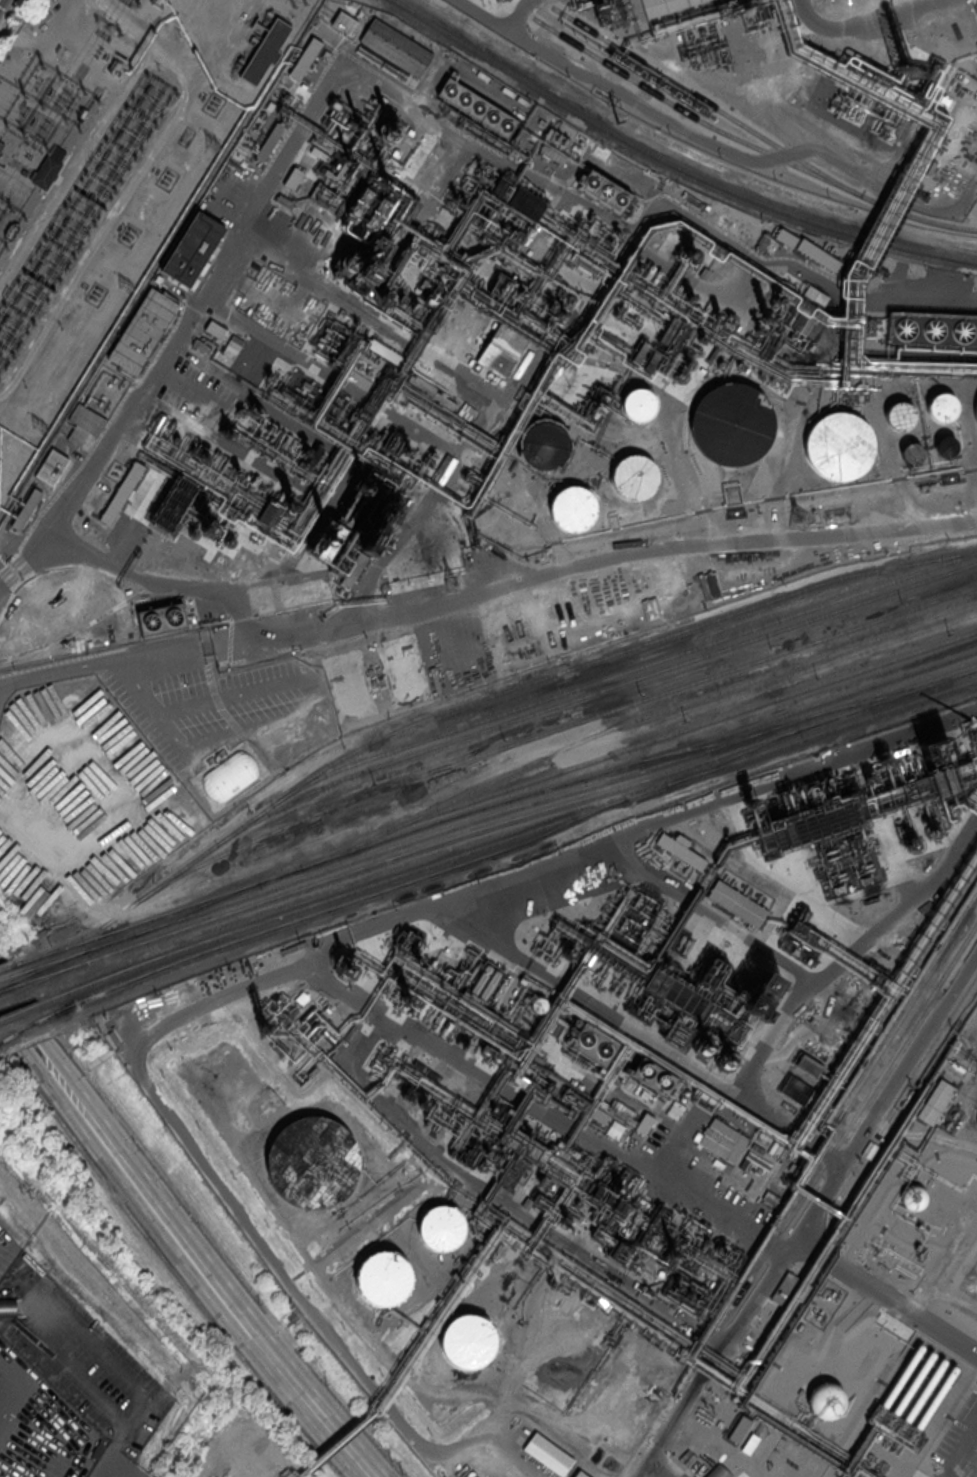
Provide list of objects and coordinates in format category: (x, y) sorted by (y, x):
power tower: (300, 6)
building: (666, 6)
building: (344, 22)
building: (395, 48)
building: (265, 51)
building: (305, 59)
railway: (705, 101)
building: (475, 107)
power tower: (622, 123)
building: (270, 141)
building: (556, 142)
railway: (747, 142)
power tower: (212, 146)
railway: (670, 164)
building: (46, 171)
power substation: (106, 171)
building: (294, 176)
building: (604, 189)
building: (516, 198)
building: (276, 220)
building: (735, 225)
building: (785, 237)
building: (761, 243)
building: (193, 248)
building: (2, 254)
building: (817, 255)
power tower: (125, 285)
building: (141, 329)
building: (932, 329)
building: (501, 351)
building: (98, 401)
building: (638, 404)
storage tank: (638, 404)
building: (940, 408)
storage tank: (940, 408)
building: (899, 415)
storage tank: (899, 415)
building: (733, 422)
storage tank: (733, 422)
power tower: (39, 428)
building: (839, 443)
storage tank: (839, 443)
building: (545, 445)
storage tank: (545, 445)
building: (945, 445)
storage tank: (945, 445)
building: (910, 453)
storage tank: (910, 453)
building: (53, 466)
building: (634, 476)
storage tank: (634, 476)
building: (121, 492)
building: (26, 508)
building: (573, 509)
storage tank: (573, 509)
building: (168, 513)
power tower: (797, 518)
building: (327, 540)
road: (40, 554)
power tower: (453, 584)
building: (162, 618)
road: (118, 672)
railway: (621, 672)
railway: (592, 692)
railway: (486, 696)
railway: (632, 720)
railway: (681, 728)
railway: (552, 729)
building: (934, 749)
railway: (732, 757)
railway: (512, 798)
railway: (859, 801)
railway: (514, 807)
railway: (516, 817)
road: (104, 828)
railway: (523, 833)
building: (681, 849)
building: (737, 904)
railway: (344, 905)
railway: (75, 955)
railway: (40, 956)
railway: (24, 962)
railway: (27, 971)
railway: (27, 975)
railway: (28, 983)
building: (490, 986)
road: (30, 997)
railway: (46, 1000)
building: (538, 1004)
storage tank: (538, 1004)
railway: (905, 1010)
railway: (10, 1015)
building: (527, 1021)
storage tank: (527, 1021)
railway: (40, 1022)
building: (595, 1043)
building: (808, 1064)
building: (653, 1077)
road: (62, 1083)
building: (796, 1089)
building: (936, 1101)
railway: (862, 1103)
building: (581, 1107)
building: (622, 1110)
building: (644, 1123)
building: (719, 1138)
building: (312, 1160)
storage tank: (312, 1160)
building: (463, 1195)
building: (911, 1197)
storage tank: (911, 1197)
building: (441, 1227)
storage tank: (441, 1227)
parking lot: (7, 1246)
road: (234, 1257)
building: (384, 1279)
storage tank: (384, 1279)
road: (886, 1299)
road: (228, 1303)
building: (8, 1307)
building: (467, 1340)
storage tank: (467, 1340)
road: (89, 1342)
parking lot: (76, 1346)
road: (74, 1373)
road: (24, 1387)
building: (826, 1400)
storage tank: (826, 1400)
parking lot: (39, 1425)
road: (118, 1441)
building: (548, 1453)
road: (111, 1471)
road: (660, 1471)
building: (718, 1471)
building: (579, 1474)

